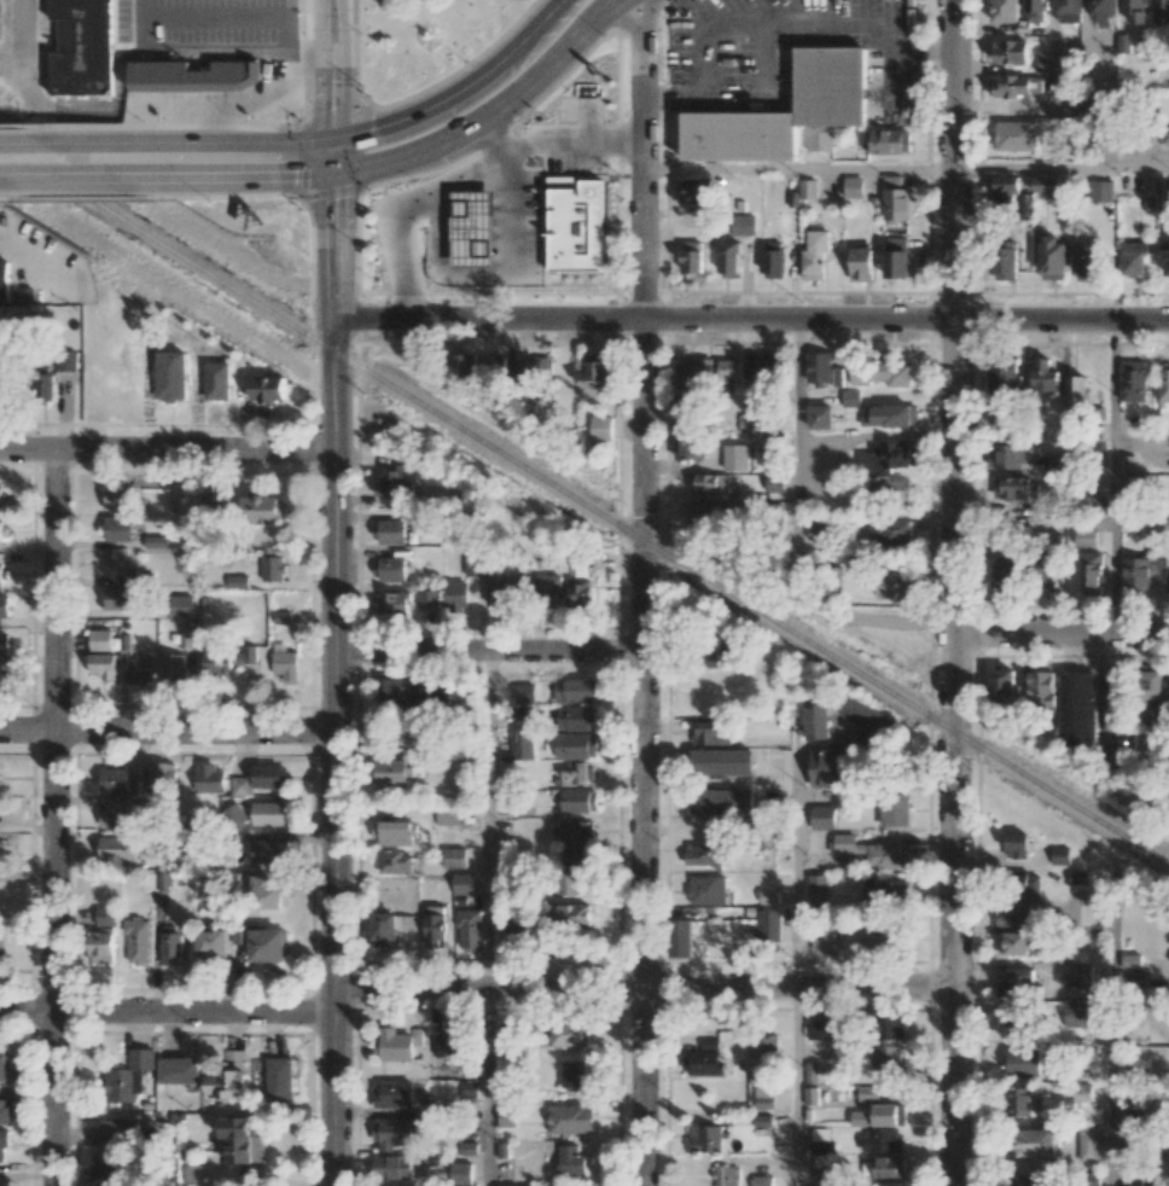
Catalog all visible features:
building: (1104, 10)
building: (1136, 10)
building: (1162, 10)
building: (1005, 11)
building: (1035, 11)
building: (1069, 11)
road: (764, 22)
road: (706, 28)
road: (23, 43)
building: (82, 46)
road: (149, 48)
building: (1010, 51)
building: (194, 76)
building: (831, 79)
building: (1016, 85)
road: (458, 89)
building: (1081, 105)
road: (488, 110)
road: (234, 111)
road: (211, 126)
building: (1104, 132)
building: (1016, 135)
traffic signals: (332, 138)
road: (211, 140)
building: (888, 140)
building: (819, 141)
road: (46, 143)
road: (798, 167)
road: (1062, 167)
traffic signals: (332, 171)
road: (242, 175)
road: (75, 176)
parking lot: (492, 182)
building: (1046, 185)
building: (853, 186)
building: (808, 188)
building: (696, 190)
building: (1006, 190)
building: (1099, 191)
building: (897, 199)
building: (505, 209)
building: (571, 215)
building: (743, 225)
building: (467, 229)
building: (456, 236)
building: (1164, 248)
road: (39, 254)
building: (692, 256)
building: (1052, 257)
building: (1133, 257)
building: (729, 258)
building: (898, 258)
building: (1087, 260)
building: (1006, 262)
building: (773, 263)
building: (861, 263)
building: (813, 264)
building: (4, 280)
road: (751, 320)
building: (66, 361)
building: (495, 365)
building: (464, 367)
building: (819, 367)
building: (534, 368)
building: (729, 368)
building: (597, 373)
building: (880, 373)
building: (170, 374)
building: (692, 376)
building: (837, 376)
building: (1045, 377)
building: (217, 379)
building: (1133, 380)
building: (1004, 383)
building: (1163, 383)
building: (268, 388)
building: (1076, 388)
building: (891, 415)
building: (820, 417)
building: (600, 428)
building: (686, 429)
building: (773, 441)
road: (167, 449)
building: (1007, 455)
building: (735, 457)
building: (888, 457)
building: (1055, 461)
road: (1112, 475)
building: (397, 482)
building: (709, 482)
building: (774, 482)
building: (1016, 487)
building: (891, 489)
building: (0, 495)
building: (117, 498)
building: (211, 501)
railway: (583, 505)
building: (260, 508)
building: (705, 512)
building: (117, 528)
building: (2, 530)
building: (390, 530)
building: (891, 531)
road: (797, 536)
building: (1084, 536)
building: (155, 541)
building: (114, 564)
building: (475, 564)
building: (0, 566)
building: (272, 568)
building: (390, 569)
building: (1045, 570)
building: (1006, 571)
building: (1091, 571)
building: (1139, 572)
building: (523, 582)
building: (895, 585)
building: (547, 586)
building: (495, 588)
road: (333, 592)
building: (577, 592)
road: (640, 592)
road: (950, 593)
building: (455, 597)
building: (117, 598)
building: (429, 598)
building: (394, 603)
building: (4, 605)
building: (179, 606)
road: (1059, 628)
building: (186, 638)
building: (100, 639)
building: (4, 643)
road: (487, 650)
building: (716, 656)
building: (226, 658)
building: (103, 664)
building: (284, 665)
building: (173, 668)
building: (139, 669)
building: (4, 680)
building: (1002, 682)
building: (1113, 684)
building: (1041, 687)
building: (400, 691)
building: (575, 691)
building: (1150, 692)
building: (525, 693)
building: (429, 696)
building: (1076, 709)
building: (523, 714)
building: (867, 716)
building: (574, 717)
building: (816, 720)
road: (165, 729)
building: (710, 732)
building: (522, 743)
building: (575, 745)
building: (721, 761)
building: (828, 767)
building: (390, 773)
building: (577, 773)
building: (122, 775)
building: (269, 775)
building: (162, 777)
building: (210, 778)
building: (240, 786)
building: (143, 801)
building: (577, 801)
building: (721, 801)
building: (894, 809)
building: (269, 813)
building: (117, 814)
building: (450, 815)
building: (822, 816)
road: (54, 818)
road: (487, 818)
building: (574, 829)
building: (395, 832)
building: (0, 845)
building: (1016, 845)
building: (118, 848)
building: (269, 850)
building: (870, 850)
building: (705, 854)
building: (1060, 855)
building: (454, 857)
building: (576, 857)
building: (395, 861)
road: (797, 861)
building: (158, 880)
building: (568, 882)
building: (463, 883)
building: (816, 883)
building: (1028, 884)
building: (705, 889)
building: (264, 893)
building: (885, 893)
building: (768, 896)
building: (569, 914)
building: (1013, 914)
building: (106, 915)
building: (434, 925)
building: (516, 925)
building: (768, 925)
building: (389, 928)
building: (469, 929)
building: (680, 937)
building: (824, 937)
building: (139, 940)
building: (884, 940)
building: (211, 943)
building: (262, 943)
building: (1018, 943)
building: (101, 946)
building: (171, 946)
building: (2, 952)
building: (1130, 960)
building: (1078, 973)
building: (1138, 978)
building: (1016, 982)
road: (472, 986)
building: (1076, 1013)
building: (1017, 1024)
building: (890, 1025)
road: (1113, 1025)
building: (821, 1029)
building: (568, 1033)
building: (453, 1042)
building: (396, 1043)
building: (709, 1043)
building: (764, 1046)
building: (889, 1057)
building: (1022, 1062)
building: (705, 1063)
building: (2, 1064)
building: (1139, 1066)
building: (179, 1070)
building: (810, 1072)
building: (572, 1074)
building: (128, 1077)
building: (279, 1079)
building: (227, 1085)
road: (487, 1086)
road: (797, 1086)
building: (1082, 1092)
building: (395, 1093)
building: (867, 1093)
building: (763, 1097)
building: (1022, 1100)
building: (4, 1110)
building: (506, 1115)
building: (879, 1116)
building: (569, 1118)
building: (120, 1132)
building: (392, 1133)
building: (704, 1138)
building: (240, 1140)
building: (821, 1140)
building: (1036, 1141)
building: (4, 1143)
building: (1088, 1143)
building: (570, 1158)
building: (104, 1165)
building: (394, 1167)
building: (821, 1167)
building: (889, 1167)
building: (461, 1173)
building: (192, 1174)
building: (725, 1175)
building: (762, 1180)
building: (1023, 1180)
building: (5, 1181)
building: (1132, 1184)
building: (458, 1185)
building: (507, 1185)
building: (821, 1185)

